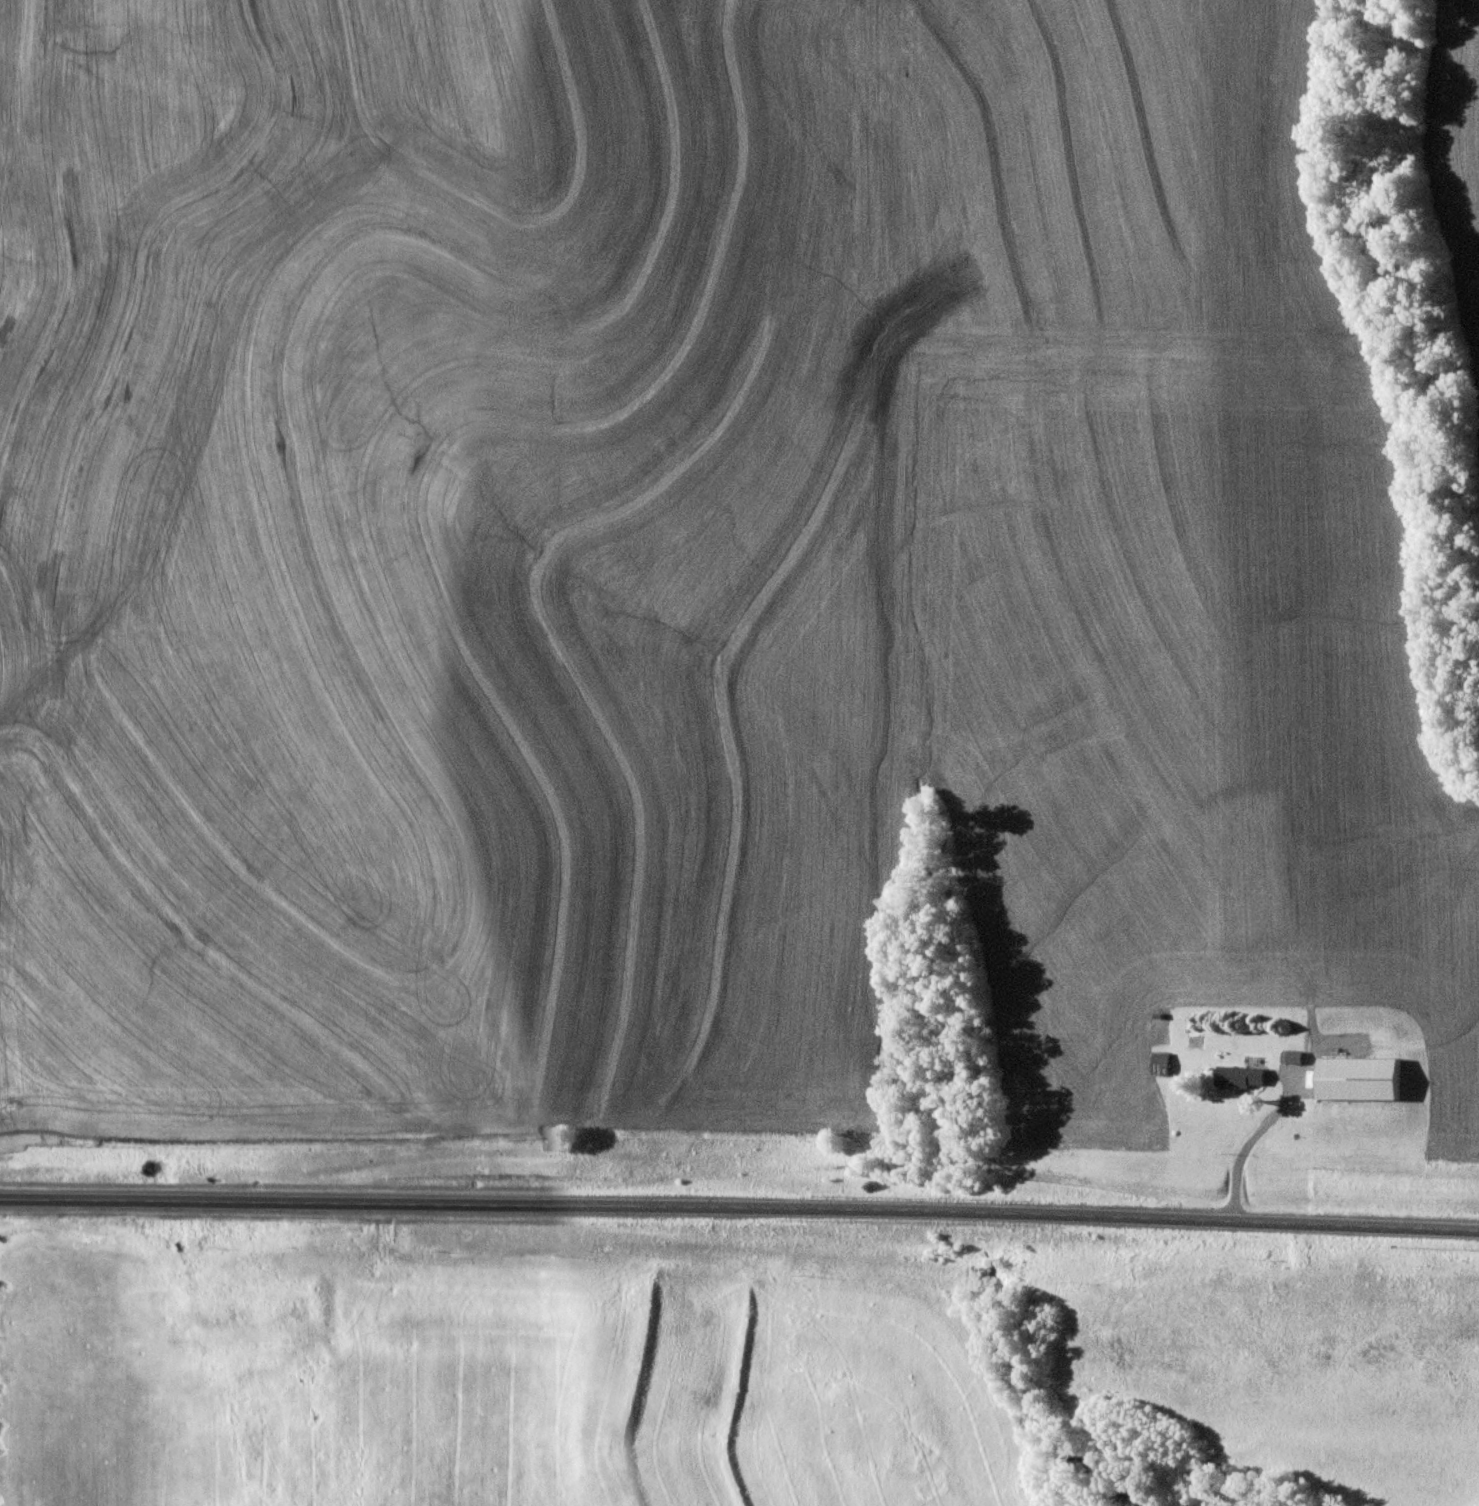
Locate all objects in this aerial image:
building: (1292, 1057)
building: (1161, 1064)
building: (1233, 1076)
building: (1359, 1078)
road: (739, 1221)

